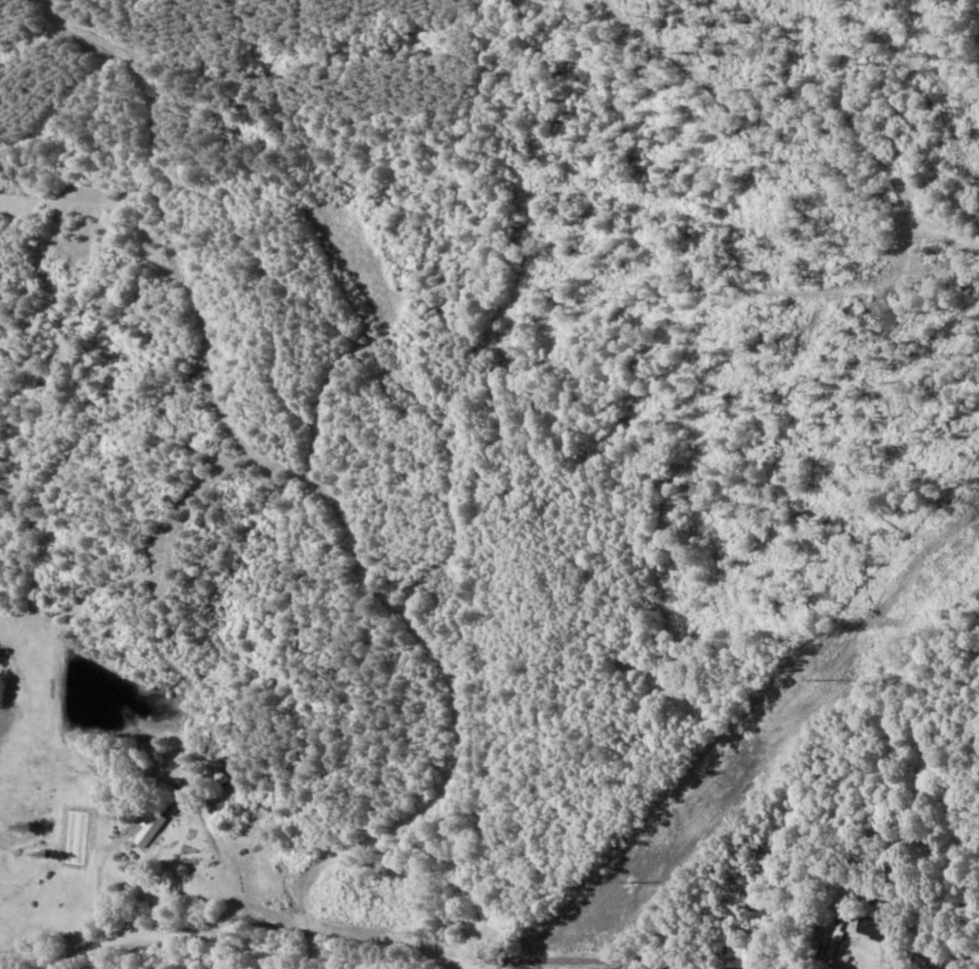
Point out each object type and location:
road: (588, 665)
road: (569, 732)
building: (162, 793)
road: (814, 905)
building: (866, 927)
building: (834, 937)

